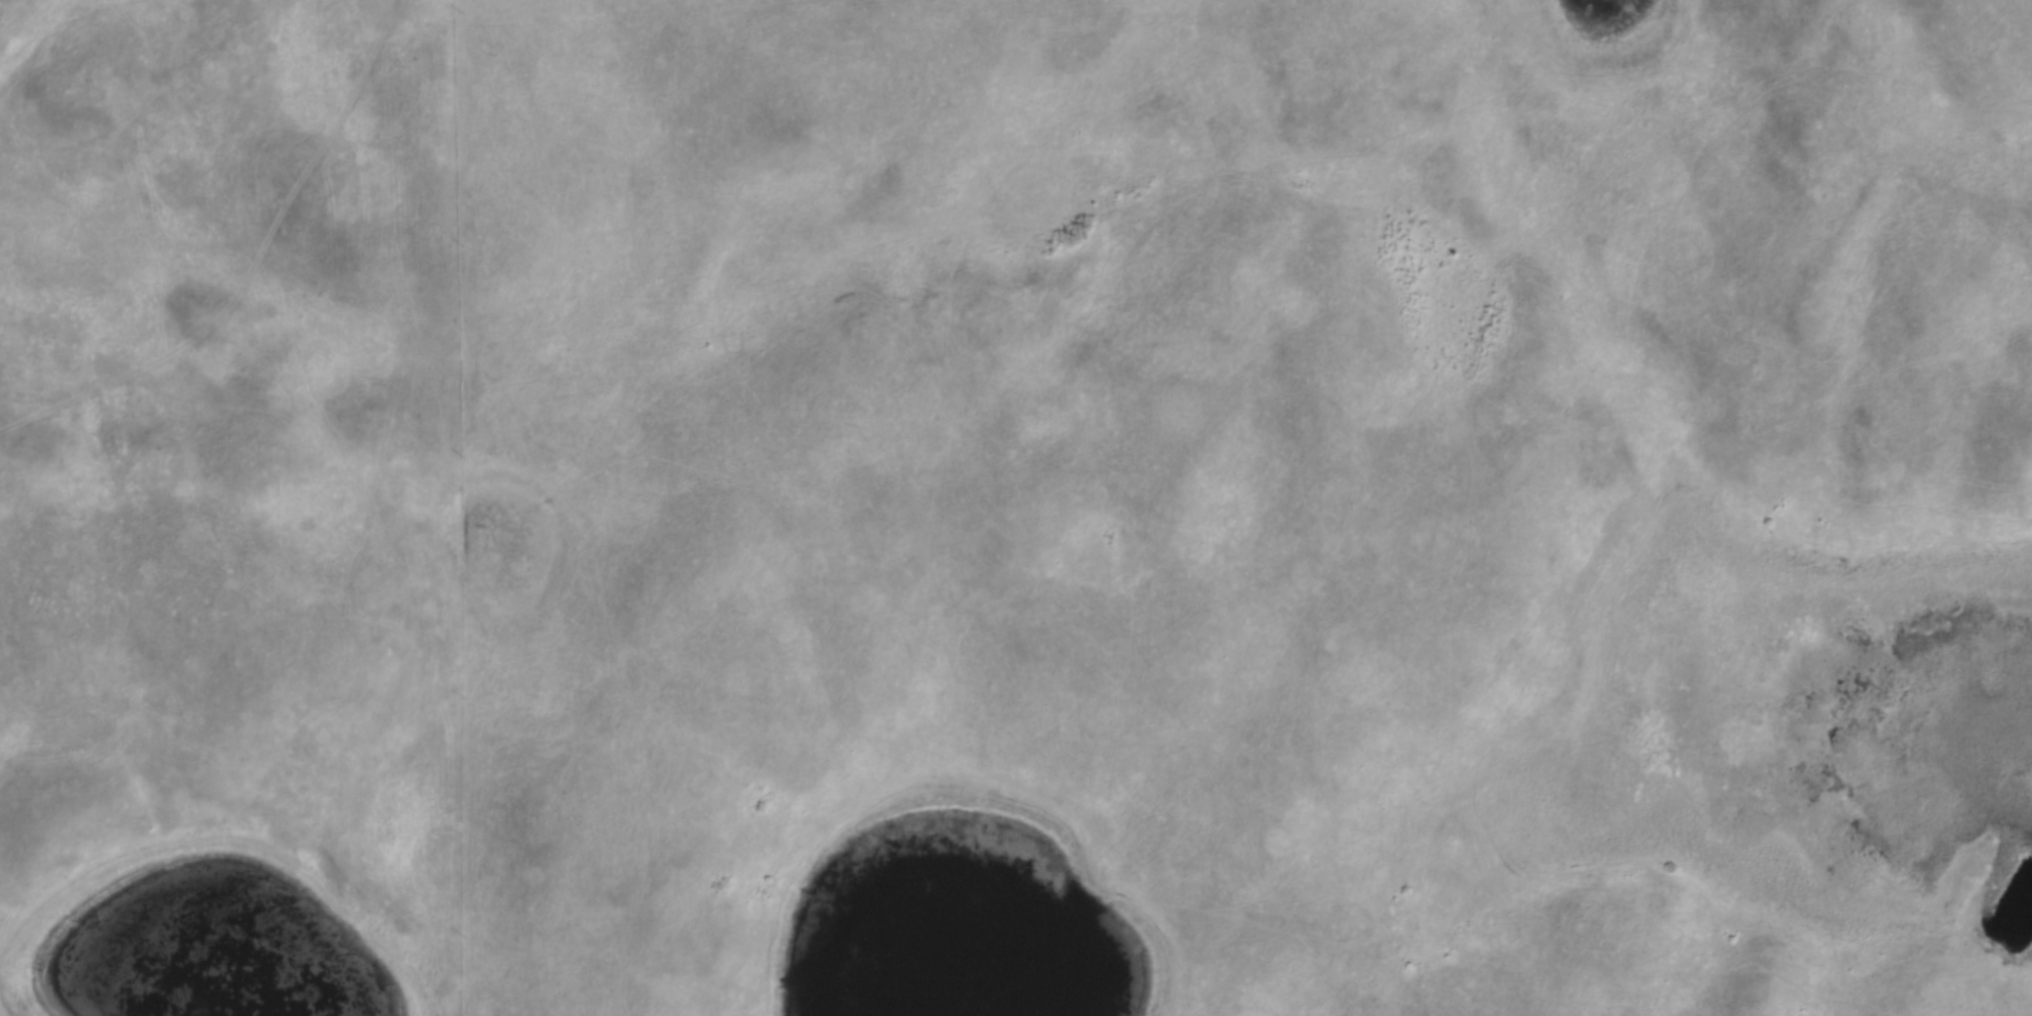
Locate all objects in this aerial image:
road: (248, 269)

